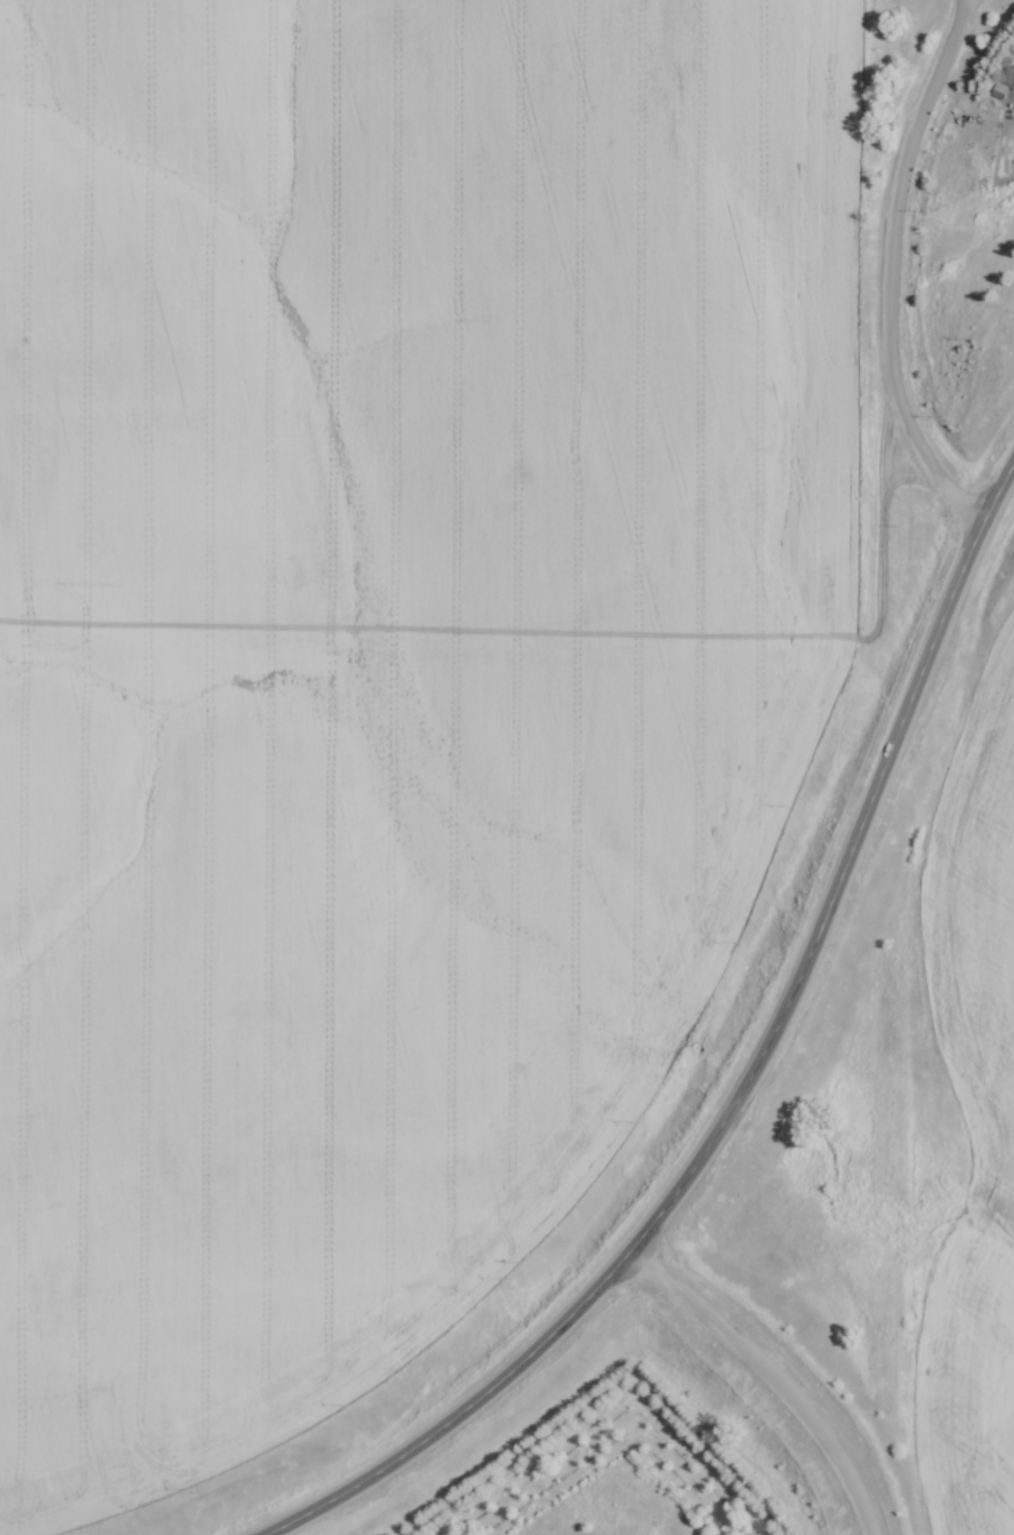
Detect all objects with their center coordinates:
road: (977, 15)
building: (1001, 91)
road: (891, 274)
road: (742, 1075)
road: (767, 1380)

